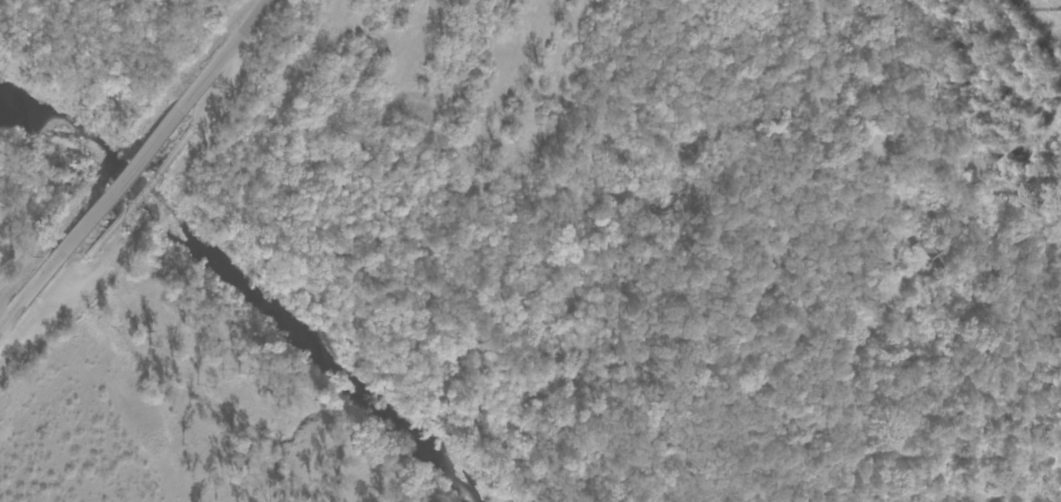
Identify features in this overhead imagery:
power tower: (1049, 3)
road: (830, 125)
road: (134, 167)
building: (931, 249)
road: (565, 255)

